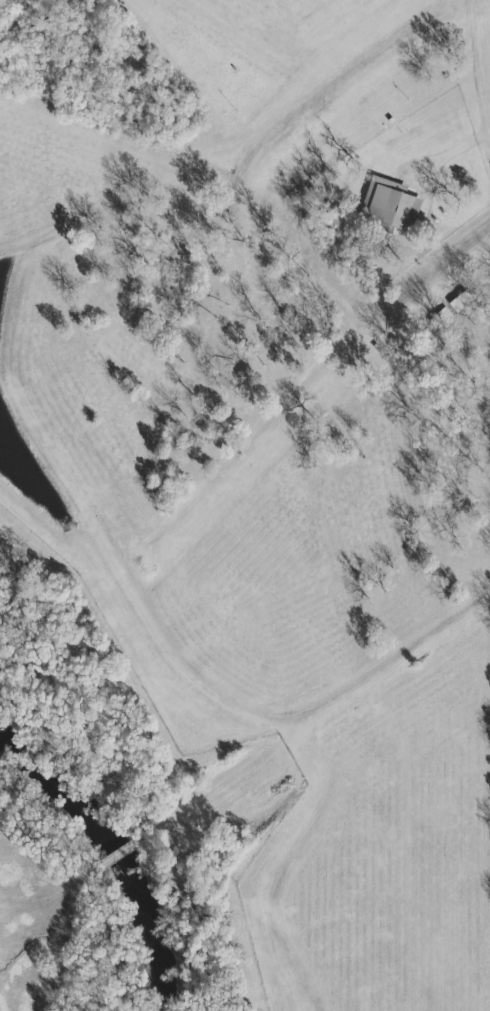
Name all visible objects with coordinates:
road: (473, 103)
building: (388, 202)
river: (113, 863)

